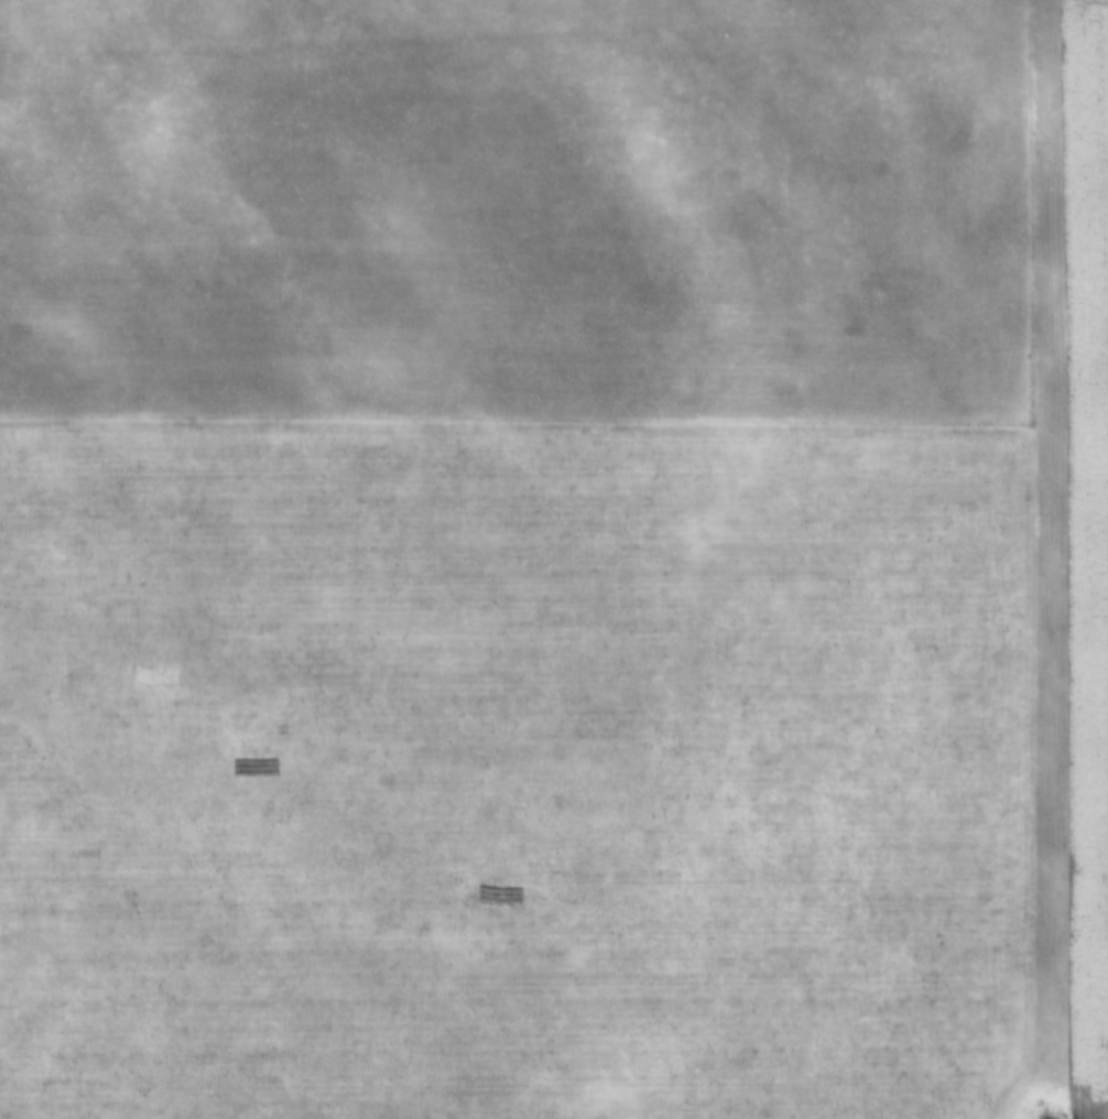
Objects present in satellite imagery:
road: (1052, 565)

